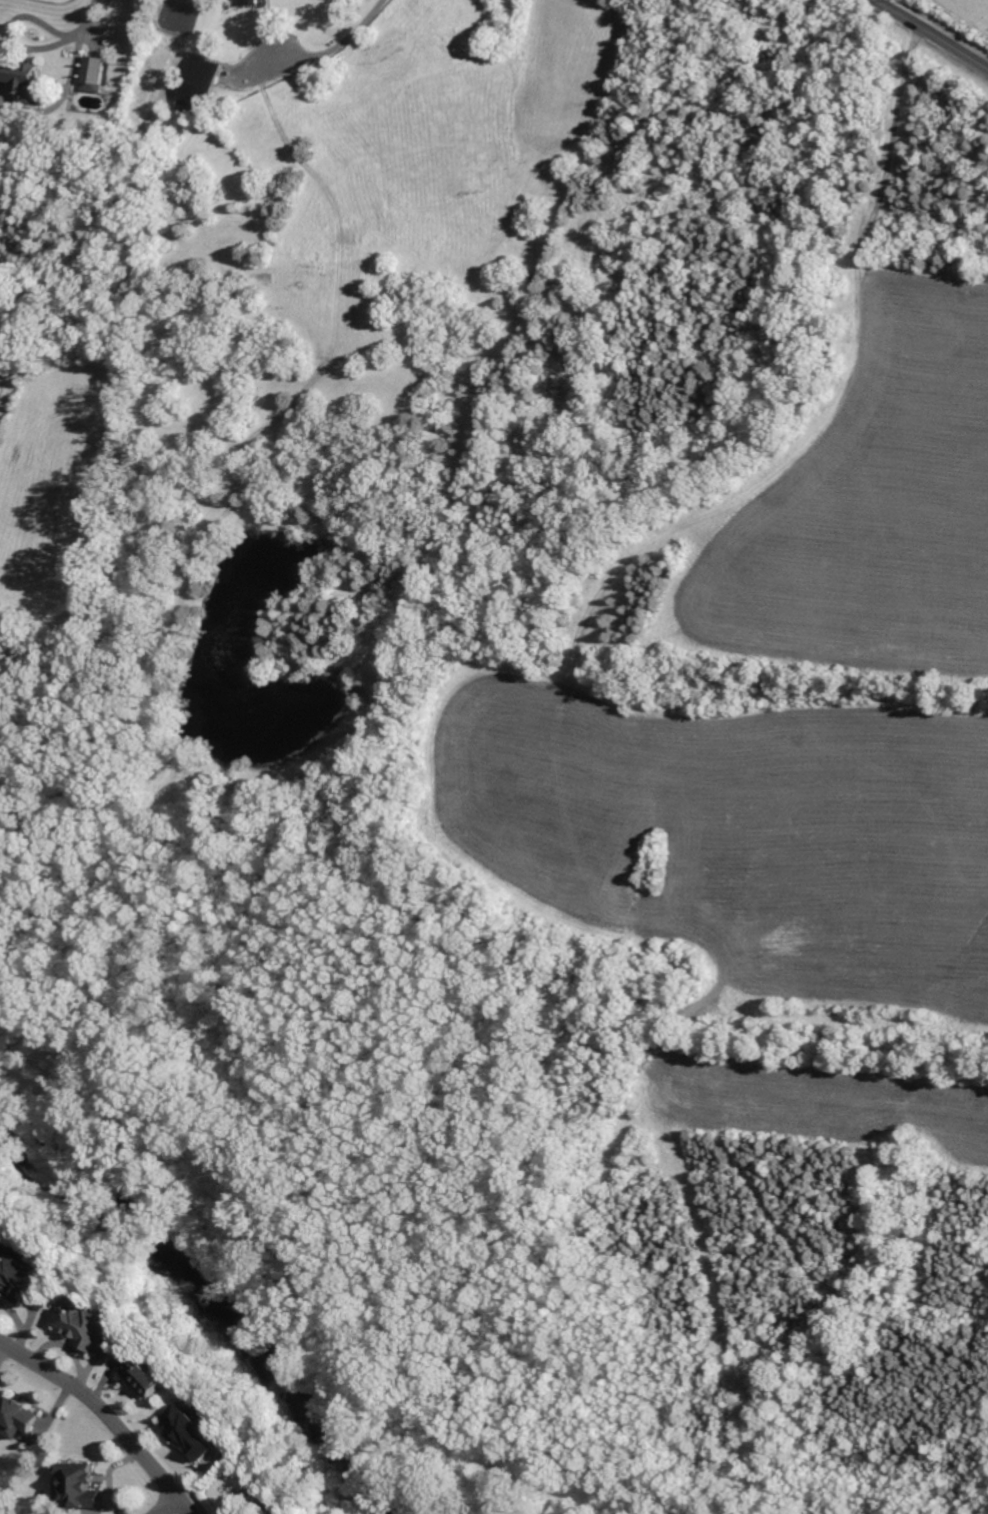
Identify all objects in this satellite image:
building: (248, 2)
road: (931, 34)
road: (321, 52)
building: (93, 69)
building: (19, 74)
road: (71, 82)
building: (201, 85)
building: (19, 1271)
river: (192, 1308)
building: (86, 1323)
building: (151, 1376)
road: (106, 1415)
building: (16, 1417)
building: (194, 1430)
building: (76, 1486)
road: (169, 1507)

